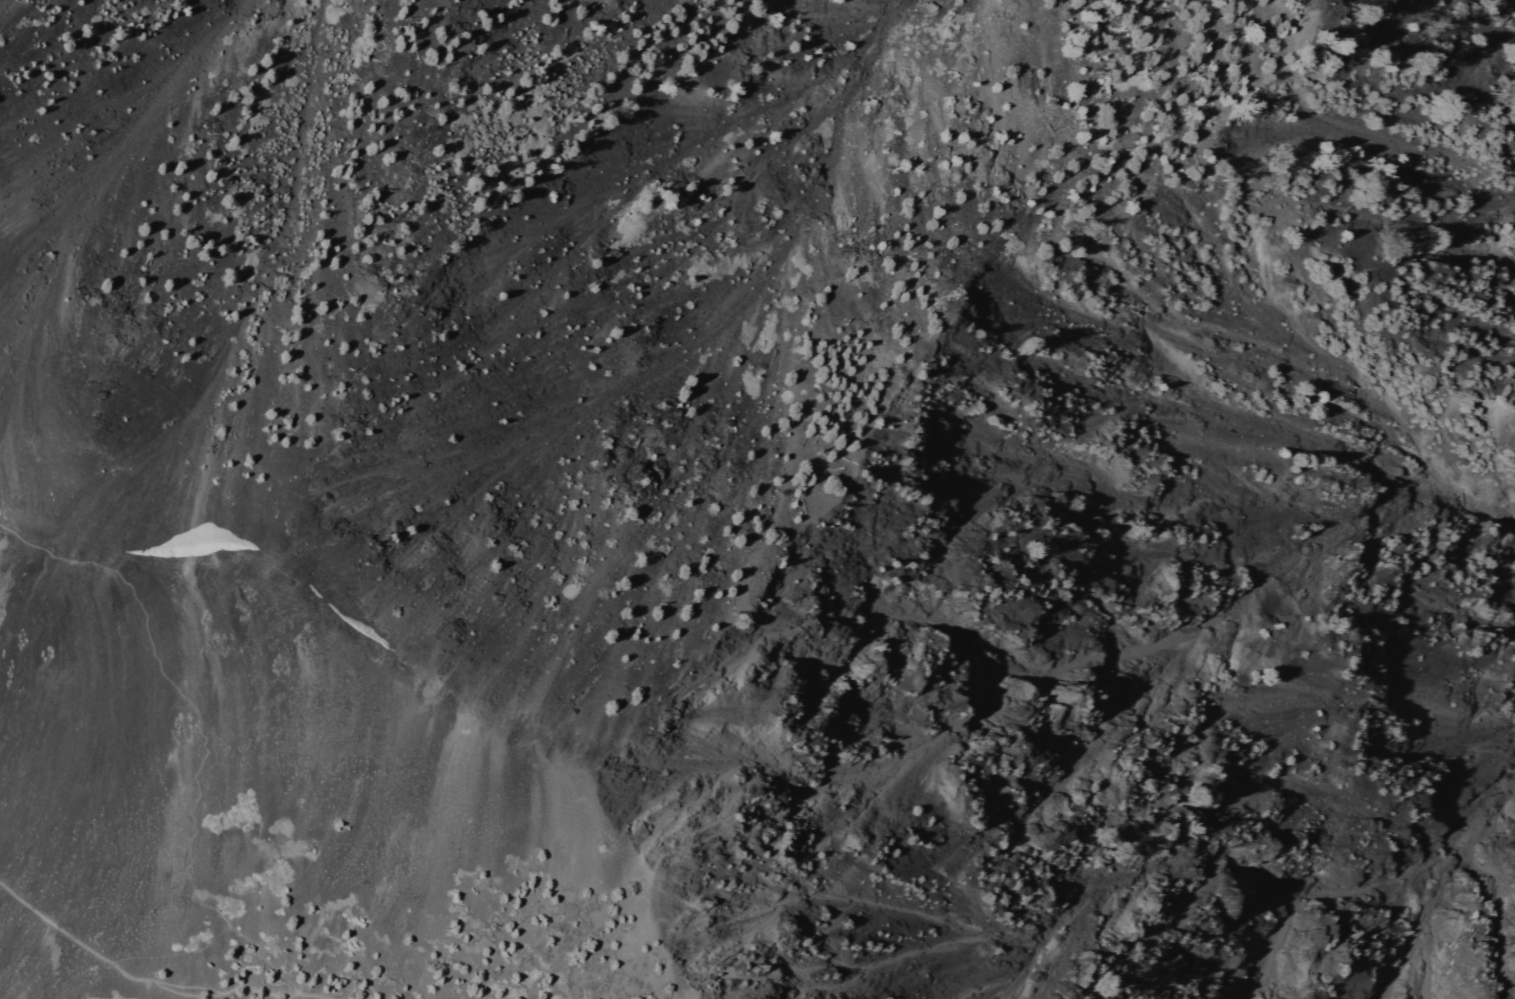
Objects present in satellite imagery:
road: (461, 720)
road: (200, 727)
road: (149, 980)
road: (294, 997)

